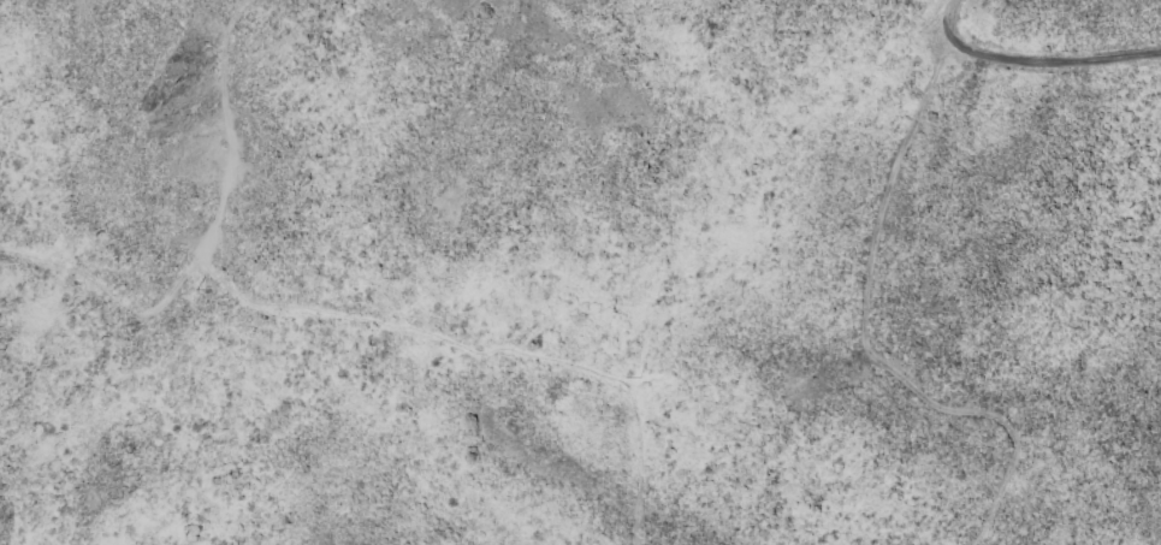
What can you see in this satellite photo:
road: (1036, 61)
park: (325, 272)
road: (361, 314)
road: (865, 324)

